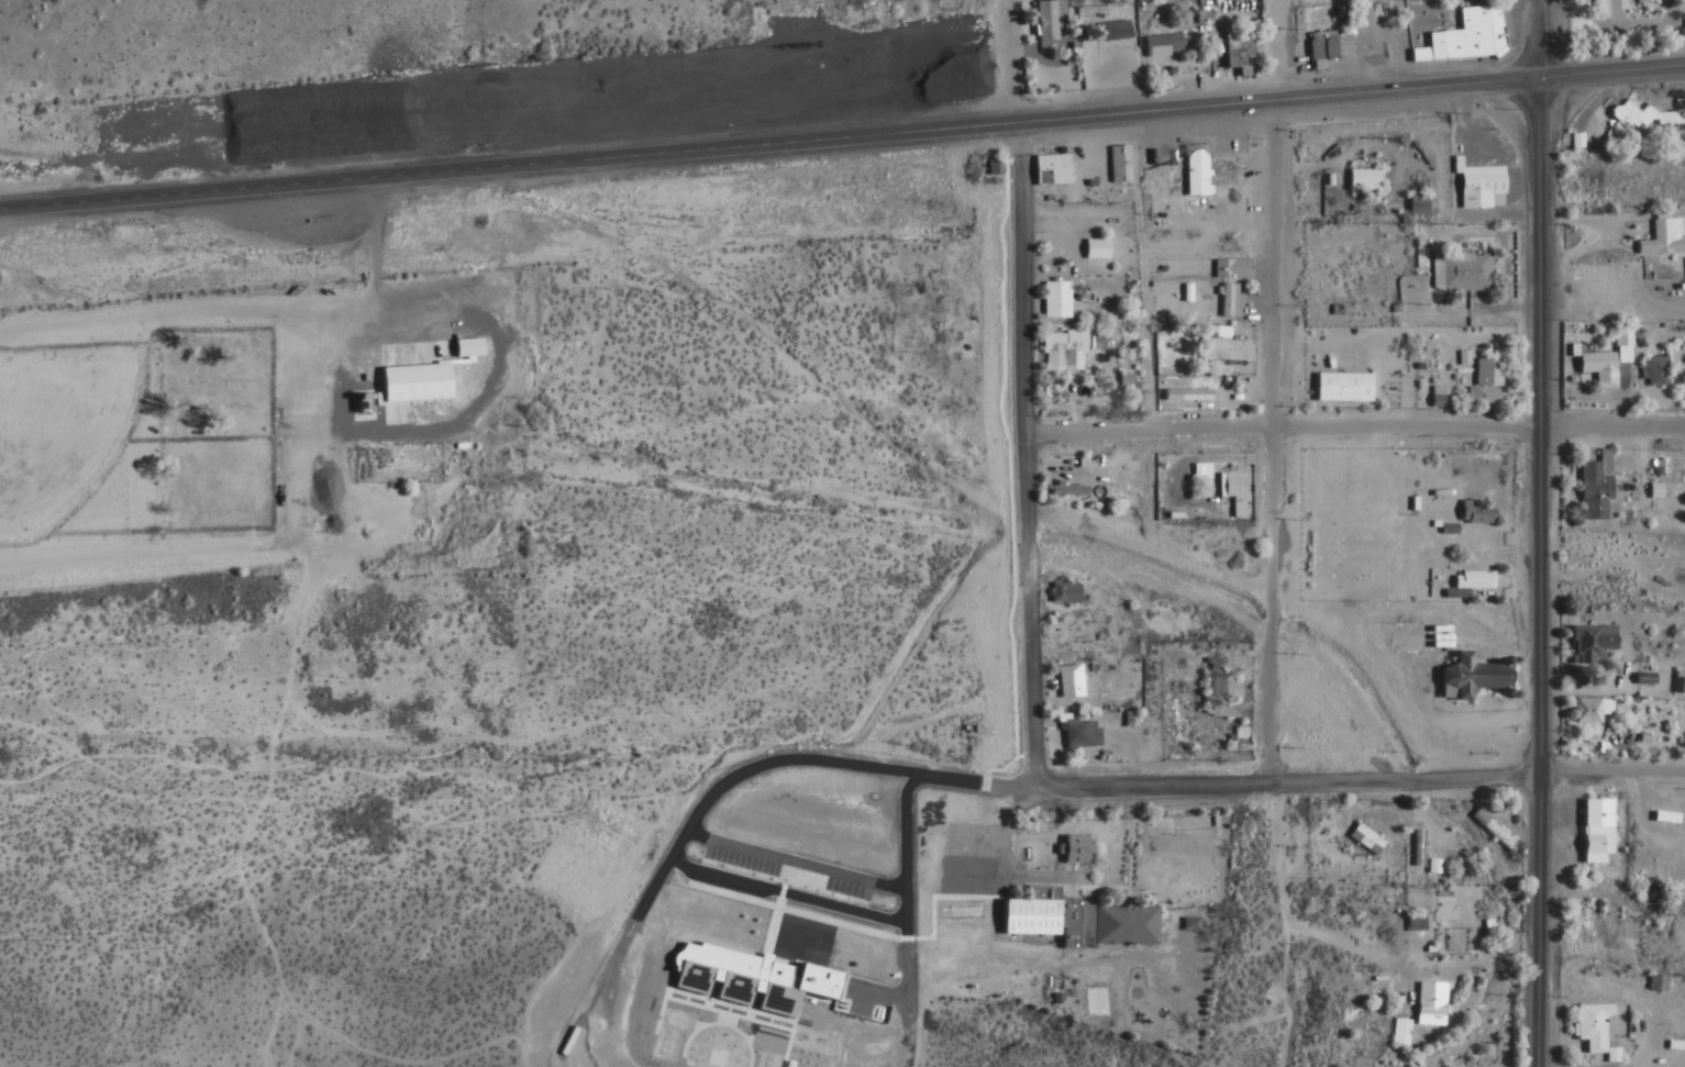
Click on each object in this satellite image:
building: (1113, 1)
building: (1642, 1)
building: (1615, 5)
building: (857, 12)
building: (1043, 22)
building: (1110, 33)
building: (1459, 40)
building: (1160, 46)
building: (1318, 48)
building: (1235, 52)
building: (1313, 64)
gas station: (1313, 64)
building: (1641, 116)
road: (842, 137)
building: (1117, 165)
building: (993, 168)
building: (1049, 169)
building: (1193, 174)
building: (1361, 180)
building: (1476, 186)
building: (1414, 207)
building: (1659, 235)
building: (1093, 249)
building: (1229, 270)
building: (1459, 273)
building: (1053, 300)
building: (1224, 301)
building: (1619, 337)
building: (464, 347)
building: (1220, 349)
building: (1060, 351)
building: (1596, 368)
building: (411, 382)
building: (1484, 385)
building: (1340, 387)
road: (1270, 392)
road: (1352, 429)
park: (210, 436)
park: (62, 441)
road: (1020, 456)
building: (1198, 471)
building: (1065, 490)
building: (1590, 490)
building: (1474, 514)
road: (326, 515)
road: (1539, 533)
building: (1444, 537)
building: (1470, 580)
building: (1062, 592)
building: (1587, 644)
building: (1465, 676)
building: (1066, 681)
building: (1677, 682)
building: (1216, 689)
building: (1587, 711)
building: (1076, 734)
road: (754, 769)
road: (1359, 783)
building: (1665, 811)
road: (905, 819)
building: (1489, 831)
building: (1593, 831)
building: (1362, 840)
building: (1073, 849)
parking lot: (739, 864)
road: (795, 865)
building: (1670, 871)
parking lot: (833, 889)
road: (785, 896)
road: (783, 901)
building: (1077, 922)
building: (1412, 923)
road: (906, 944)
road: (674, 974)
building: (749, 980)
road: (878, 993)
parking lot: (866, 1002)
building: (1427, 1003)
road: (750, 1025)
building: (1588, 1026)

